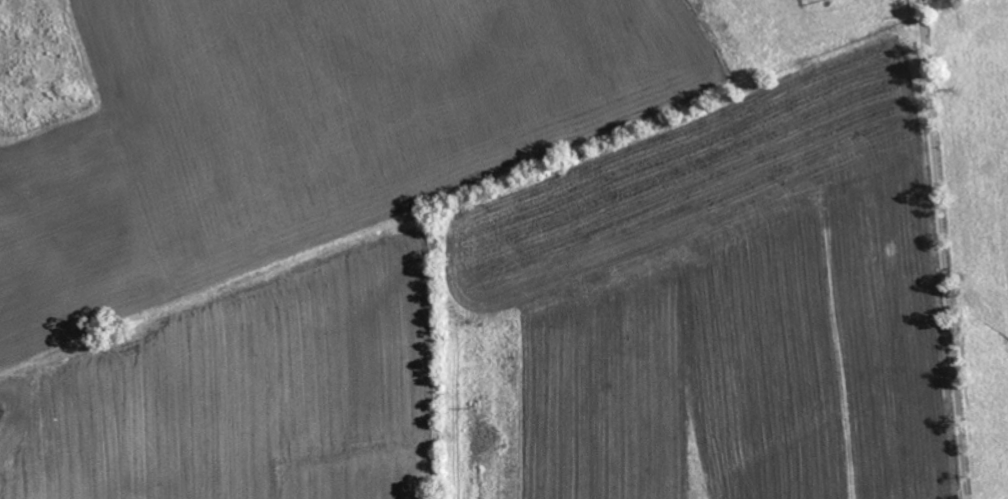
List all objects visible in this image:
road: (943, 249)

